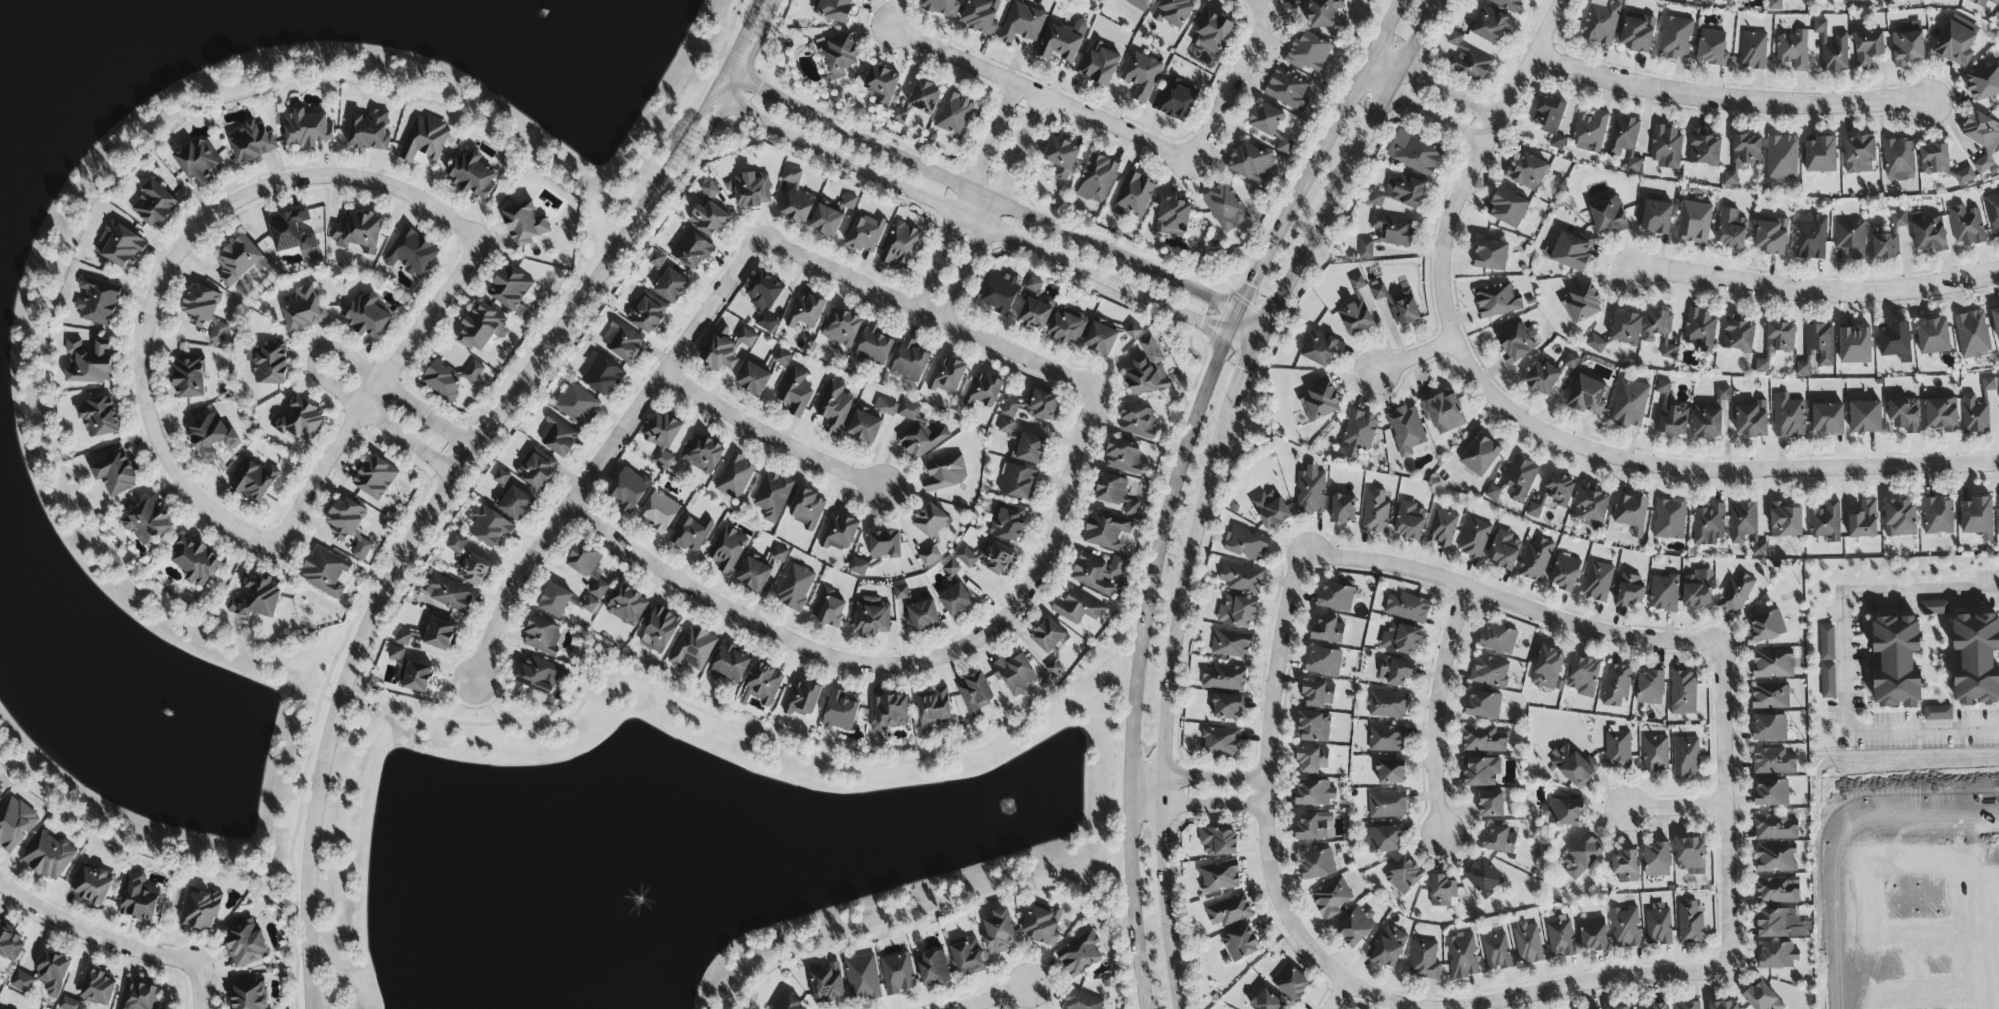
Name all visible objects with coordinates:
building: (1746, 0)
building: (1863, 0)
building: (1099, 1)
building: (1983, 2)
building: (1138, 4)
building: (1508, 5)
building: (1774, 5)
building: (941, 7)
road: (1264, 7)
building: (834, 10)
building: (1174, 13)
building: (1323, 13)
building: (1998, 14)
fountain: (550, 16)
road: (899, 16)
building: (980, 16)
building: (1601, 22)
building: (1022, 24)
building: (1491, 26)
building: (1211, 32)
building: (1637, 33)
building: (1675, 39)
building: (1059, 44)
building: (1955, 44)
building: (1712, 48)
building: (1830, 49)
building: (1907, 49)
road: (752, 50)
building: (1867, 50)
building: (1753, 51)
building: (1793, 51)
building: (1308, 52)
building: (838, 57)
building: (1466, 59)
building: (1098, 66)
building: (1141, 75)
building: (882, 84)
building: (1983, 84)
road: (1436, 86)
building: (1288, 91)
road: (1233, 92)
building: (924, 97)
road: (1043, 100)
building: (1175, 101)
road: (1729, 104)
road: (1422, 111)
building: (899, 115)
building: (954, 115)
building: (1266, 120)
building: (1550, 120)
road: (690, 128)
building: (307, 129)
building: (369, 132)
building: (1590, 133)
building: (1982, 138)
building: (425, 139)
building: (1625, 140)
building: (251, 143)
building: (1284, 147)
building: (1666, 148)
building: (1703, 149)
building: (1414, 154)
building: (1821, 155)
building: (1859, 155)
building: (1743, 156)
building: (1061, 158)
building: (1782, 159)
building: (1898, 159)
building: (1933, 159)
building: (198, 161)
building: (1251, 163)
road: (1478, 164)
road: (1318, 167)
road: (1349, 169)
building: (1527, 173)
building: (471, 175)
building: (1964, 176)
road: (673, 179)
building: (1096, 179)
building: (752, 190)
building: (1400, 192)
building: (1133, 196)
road: (965, 197)
building: (795, 198)
road: (992, 200)
building: (848, 202)
building: (154, 205)
building: (1225, 208)
building: (1507, 208)
road: (990, 209)
building: (709, 213)
building: (1992, 213)
building: (1172, 217)
building: (1608, 217)
building: (1656, 218)
building: (826, 222)
building: (1694, 223)
building: (525, 224)
building: (1966, 226)
road: (978, 228)
building: (1392, 230)
building: (1731, 230)
building: (358, 232)
building: (865, 234)
building: (292, 235)
building: (1929, 235)
building: (1770, 237)
building: (1810, 237)
building: (1850, 238)
building: (1887, 239)
building: (900, 245)
building: (120, 247)
building: (1365, 250)
building: (691, 251)
building: (1569, 251)
building: (411, 254)
building: (1490, 256)
road: (172, 261)
building: (239, 261)
building: (1357, 283)
building: (510, 288)
building: (1000, 293)
road: (1815, 294)
building: (765, 298)
building: (1496, 301)
building: (97, 302)
building: (1581, 304)
building: (1399, 305)
building: (200, 307)
building: (1034, 307)
building: (303, 310)
building: (805, 311)
building: (647, 313)
road: (927, 313)
building: (366, 317)
building: (1355, 318)
building: (1995, 322)
building: (1657, 325)
building: (842, 327)
building: (1067, 327)
building: (482, 328)
building: (1626, 328)
building: (1701, 330)
building: (1134, 332)
building: (218, 333)
building: (1738, 335)
building: (1972, 335)
building: (1933, 337)
building: (1101, 339)
building: (1894, 340)
building: (622, 343)
building: (1776, 343)
building: (1516, 344)
building: (1595, 344)
building: (1855, 345)
building: (874, 348)
building: (1321, 348)
building: (1817, 348)
building: (726, 349)
building: (1668, 352)
road: (316, 357)
road: (1414, 358)
building: (910, 361)
building: (89, 363)
building: (268, 363)
building: (1147, 371)
road: (1244, 372)
building: (472, 373)
building: (761, 373)
building: (601, 374)
building: (946, 376)
building: (1542, 377)
building: (189, 378)
building: (442, 381)
building: (1988, 384)
road: (377, 390)
building: (982, 391)
building: (796, 392)
building: (1723, 394)
building: (1586, 396)
building: (1319, 403)
building: (1630, 403)
building: (577, 405)
building: (1042, 405)
building: (835, 407)
building: (1009, 408)
building: (1443, 413)
building: (1671, 414)
building: (1904, 415)
building: (1941, 415)
building: (1975, 415)
building: (99, 417)
building: (1788, 417)
building: (1865, 418)
building: (298, 419)
building: (1827, 419)
building: (871, 420)
building: (1137, 421)
building: (1751, 421)
building: (1707, 423)
building: (1005, 427)
building: (1406, 431)
building: (919, 433)
building: (1357, 435)
building: (558, 437)
road: (771, 437)
building: (211, 438)
building: (663, 438)
building: (1031, 448)
road: (606, 455)
building: (702, 455)
building: (1480, 456)
building: (1123, 457)
building: (536, 469)
road: (1703, 471)
building: (945, 473)
building: (116, 475)
building: (502, 477)
building: (735, 477)
building: (374, 478)
building: (253, 481)
building: (1516, 481)
building: (1018, 482)
building: (628, 490)
building: (1310, 493)
building: (1113, 495)
building: (1552, 495)
building: (772, 496)
building: (1998, 505)
building: (1591, 507)
building: (806, 509)
building: (1343, 509)
building: (1270, 510)
building: (660, 512)
building: (1375, 512)
building: (1631, 514)
building: (1938, 517)
building: (1977, 517)
building: (1900, 518)
building: (1669, 520)
building: (930, 521)
building: (1410, 521)
building: (1785, 521)
building: (1863, 521)
building: (1007, 522)
building: (1825, 522)
building: (147, 524)
building: (349, 526)
building: (1708, 526)
building: (489, 527)
building: (1745, 527)
building: (1442, 529)
building: (1105, 531)
building: (839, 534)
building: (692, 535)
building: (1474, 539)
building: (456, 544)
building: (1245, 545)
building: (884, 546)
road: (1049, 547)
building: (727, 550)
building: (1503, 550)
building: (778, 555)
building: (929, 556)
building: (988, 557)
building: (1536, 561)
building: (194, 562)
building: (858, 567)
building: (588, 568)
building: (951, 569)
building: (472, 570)
building: (325, 573)
building: (1564, 573)
building: (754, 574)
building: (1098, 574)
building: (1241, 579)
building: (1597, 582)
building: (794, 588)
building: (1698, 589)
building: (1629, 591)
building: (448, 593)
building: (901, 593)
building: (1663, 593)
building: (1735, 594)
building: (1335, 597)
building: (254, 599)
road: (381, 600)
building: (555, 601)
building: (956, 601)
building: (589, 605)
road: (1511, 605)
building: (626, 606)
building: (1408, 608)
building: (1935, 608)
building: (828, 609)
building: (1077, 609)
building: (1237, 612)
building: (872, 616)
building: (923, 616)
road: (743, 621)
building: (1767, 627)
building: (660, 630)
building: (1327, 630)
building: (440, 635)
building: (542, 636)
building: (1048, 636)
building: (403, 638)
building: (1498, 639)
building: (1400, 640)
building: (1230, 644)
building: (1826, 644)
building: (692, 650)
building: (396, 654)
building: (1976, 659)
building: (1323, 662)
road: (1850, 662)
building: (1896, 662)
road: (1137, 664)
building: (1772, 664)
building: (730, 668)
building: (1053, 669)
building: (1547, 669)
building: (1489, 672)
building: (1394, 673)
building: (538, 675)
building: (1014, 675)
building: (418, 677)
building: (1224, 678)
building: (1584, 678)
building: (1827, 681)
building: (762, 686)
building: (1616, 686)
building: (1650, 688)
building: (975, 694)
building: (1683, 694)
building: (1316, 695)
building: (1770, 696)
building: (802, 699)
road: (487, 702)
road: (1165, 705)
building: (1387, 706)
building: (1483, 706)
building: (1226, 707)
road: (1434, 709)
building: (934, 710)
building: (840, 713)
building: (888, 713)
building: (1937, 714)
building: (1313, 728)
building: (1769, 728)
fountain: (181, 739)
building: (1386, 739)
building: (1483, 740)
building: (1220, 742)
building: (1618, 750)
road: (943, 754)
building: (1655, 755)
building: (1686, 757)
building: (1312, 761)
building: (1773, 761)
building: (1571, 767)
building: (1390, 772)
building: (1481, 772)
road: (1195, 779)
road: (1263, 779)
building: (0, 789)
building: (1314, 793)
building: (1771, 793)
road: (1195, 803)
building: (1387, 805)
building: (1491, 805)
fountain: (1013, 808)
road: (1724, 808)
road: (1676, 809)
building: (1563, 812)
building: (15, 824)
building: (1314, 827)
road: (1109, 828)
building: (1775, 828)
building: (1383, 840)
building: (1218, 841)
building: (1499, 841)
building: (1690, 856)
building: (48, 857)
building: (1580, 858)
building: (1776, 859)
building: (1656, 860)
building: (1317, 865)
building: (1625, 867)
building: (1403, 877)
building: (1483, 877)
building: (1219, 878)
building: (92, 885)
fountain: (569, 889)
building: (1777, 891)
building: (1443, 892)
building: (138, 898)
building: (1331, 899)
building: (200, 910)
building: (1229, 912)
building: (1690, 924)
building: (1780, 924)
building: (1041, 926)
building: (1658, 926)
building: (1354, 928)
building: (1625, 928)
building: (999, 932)
road: (94, 935)
building: (1593, 935)
building: (1560, 940)
building: (9, 943)
building: (1240, 944)
building: (1527, 944)
building: (246, 946)
building: (1387, 949)
building: (1496, 952)
building: (1079, 955)
building: (1777, 956)
building: (967, 957)
building: (1462, 957)
building: (1424, 961)
building: (933, 968)
building: (897, 974)
building: (45, 976)
building: (862, 978)
building: (1290, 983)
road: (1588, 984)
building: (827, 985)
road: (199, 988)
building: (97, 989)
building: (248, 995)
building: (139, 996)
road: (1337, 997)
road: (994, 998)
building: (1762, 998)
road: (1383, 999)
building: (1082, 1001)
building: (1266, 1001)
building: (787, 1002)
building: (70, 1004)
building: (1724, 1005)
building: (1659, 1006)
building: (1687, 1006)

